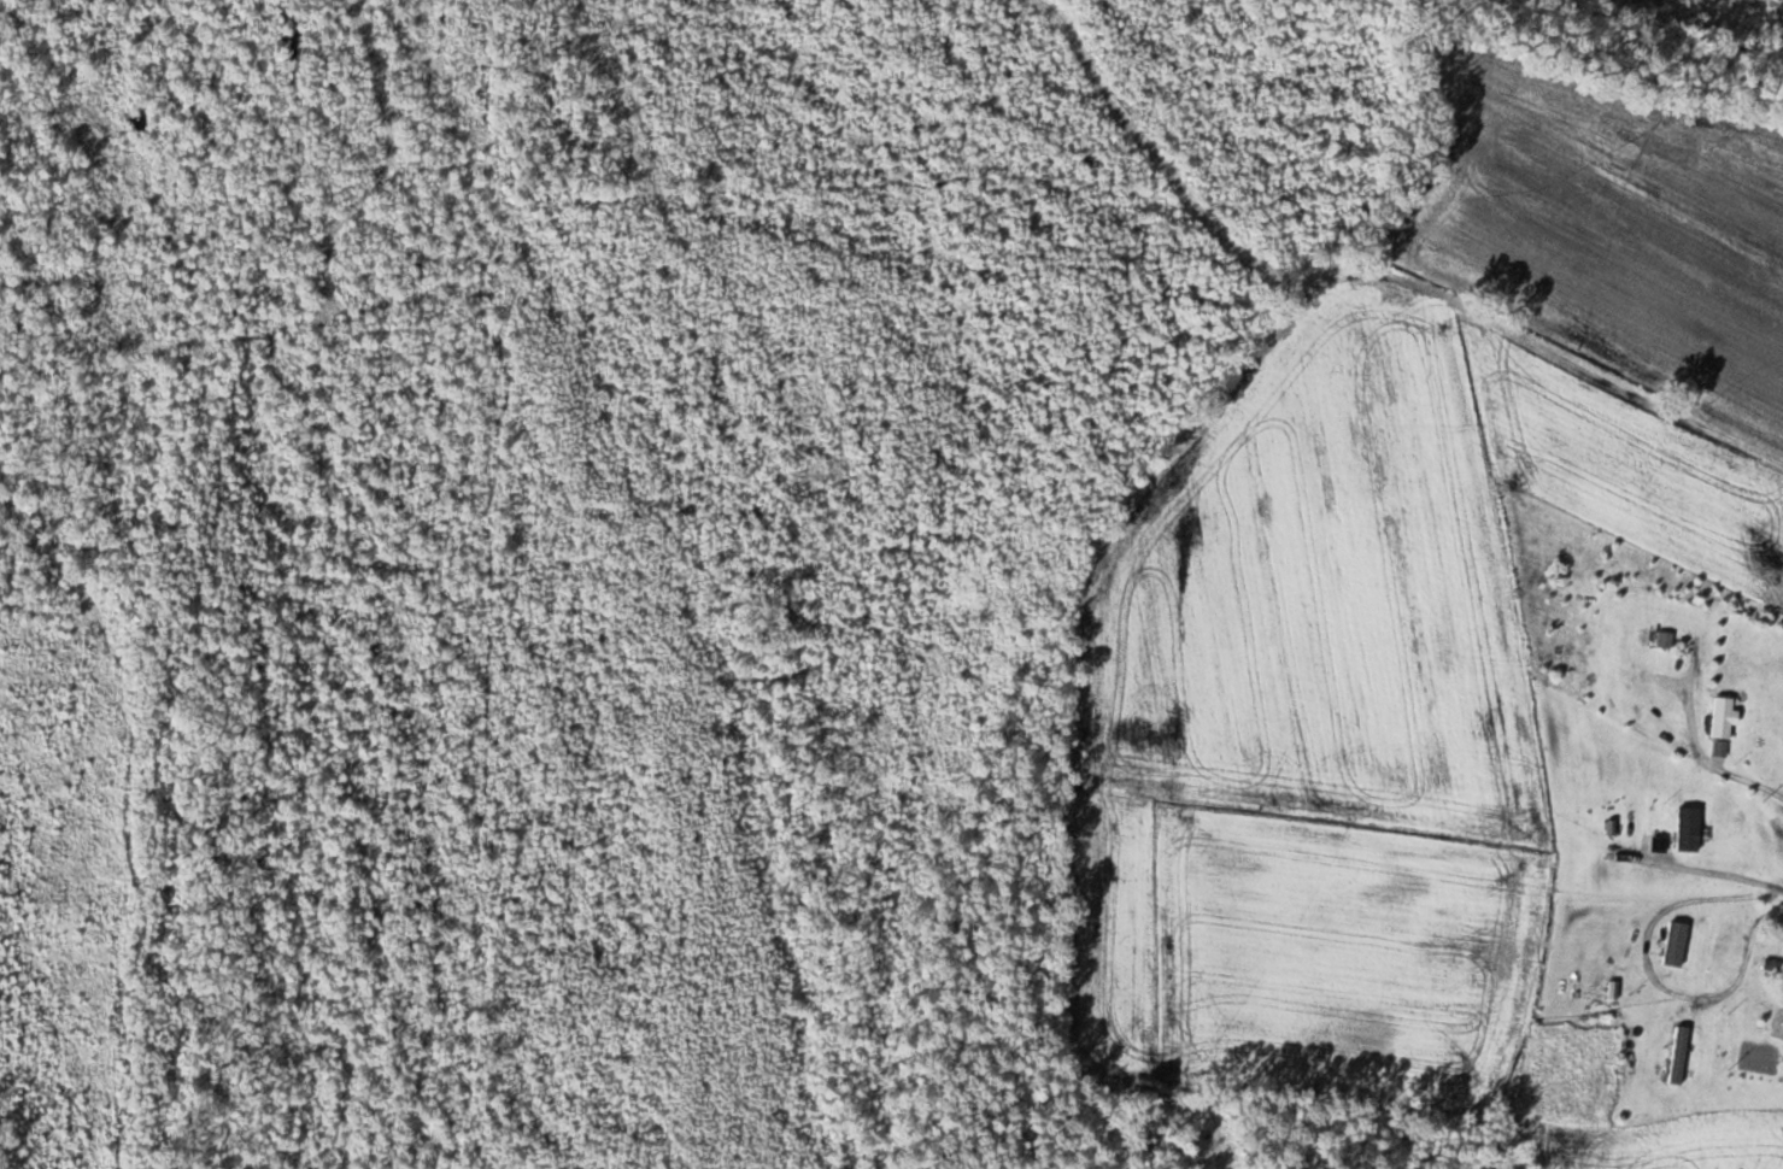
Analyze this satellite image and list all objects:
river: (1627, 53)
building: (1723, 718)
building: (1723, 750)

